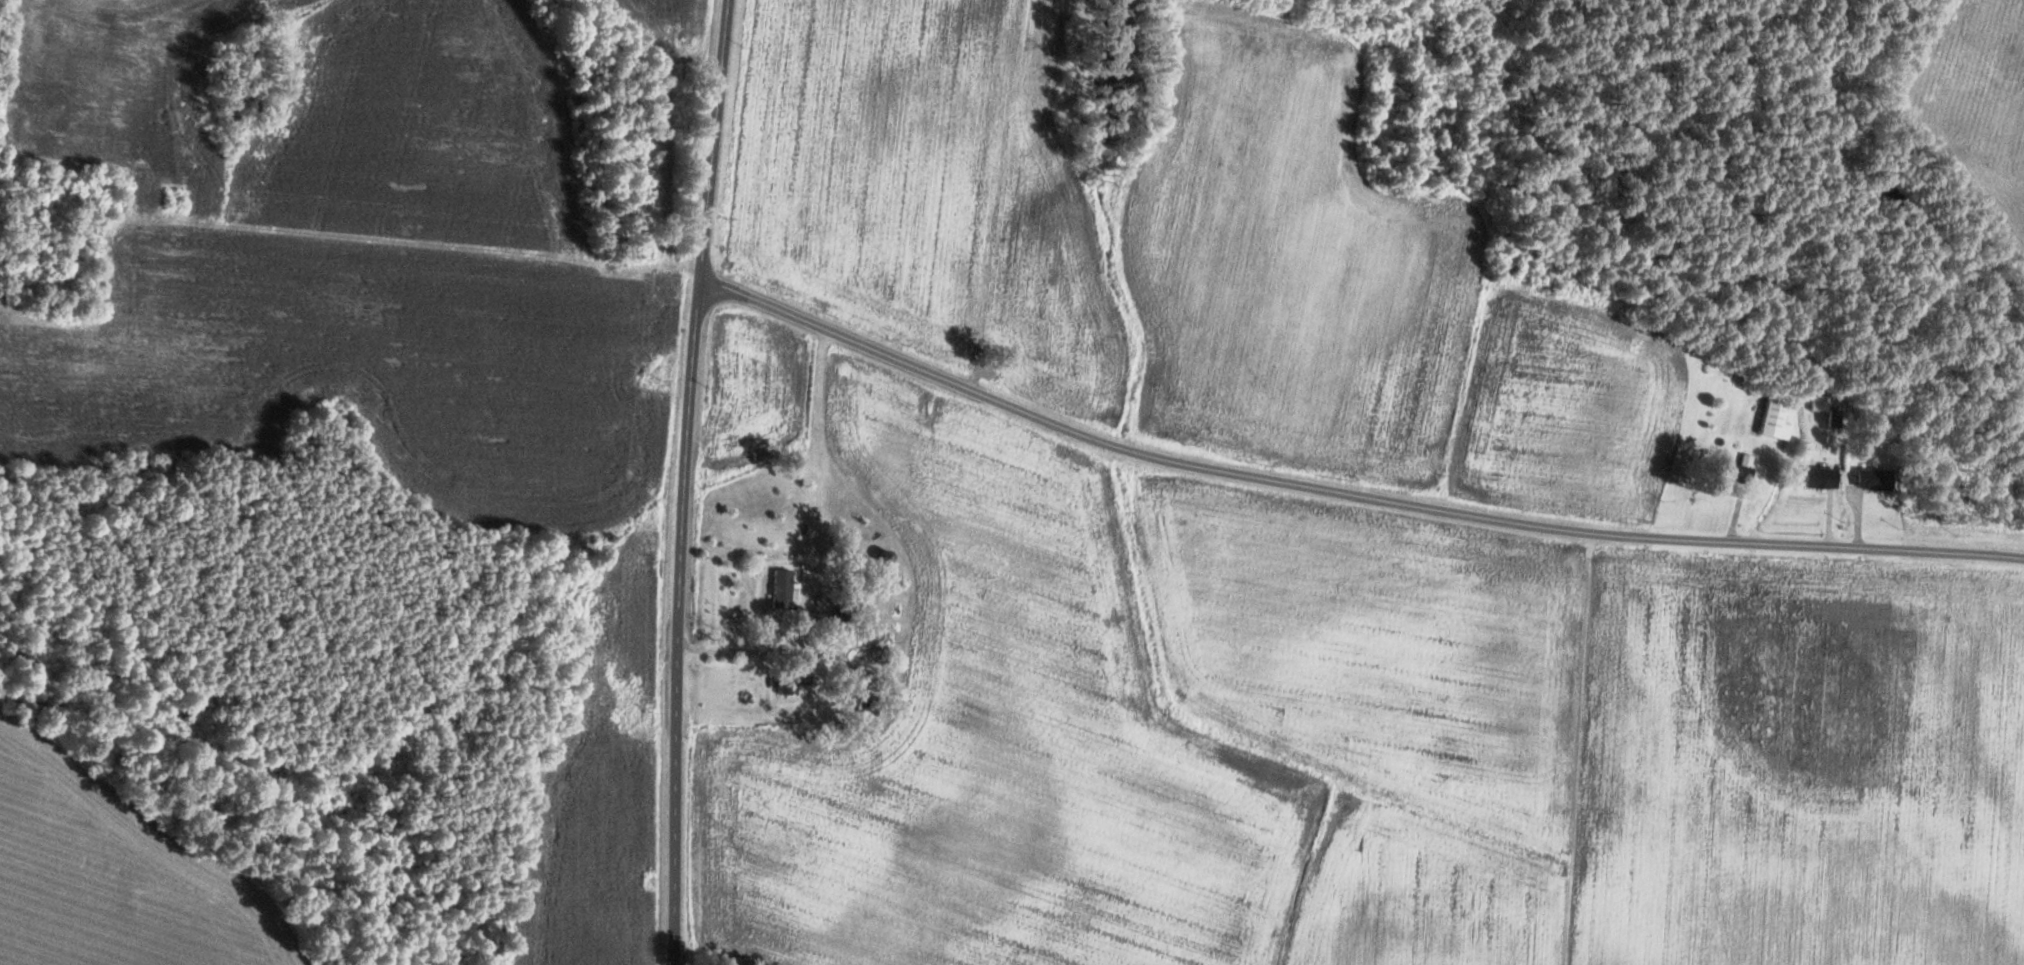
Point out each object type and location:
road: (420, 241)
building: (1836, 418)
building: (1778, 419)
building: (1741, 473)
building: (1824, 476)
building: (1879, 479)
road: (691, 481)
road: (1345, 492)
building: (889, 556)
building: (784, 589)
building: (786, 684)

